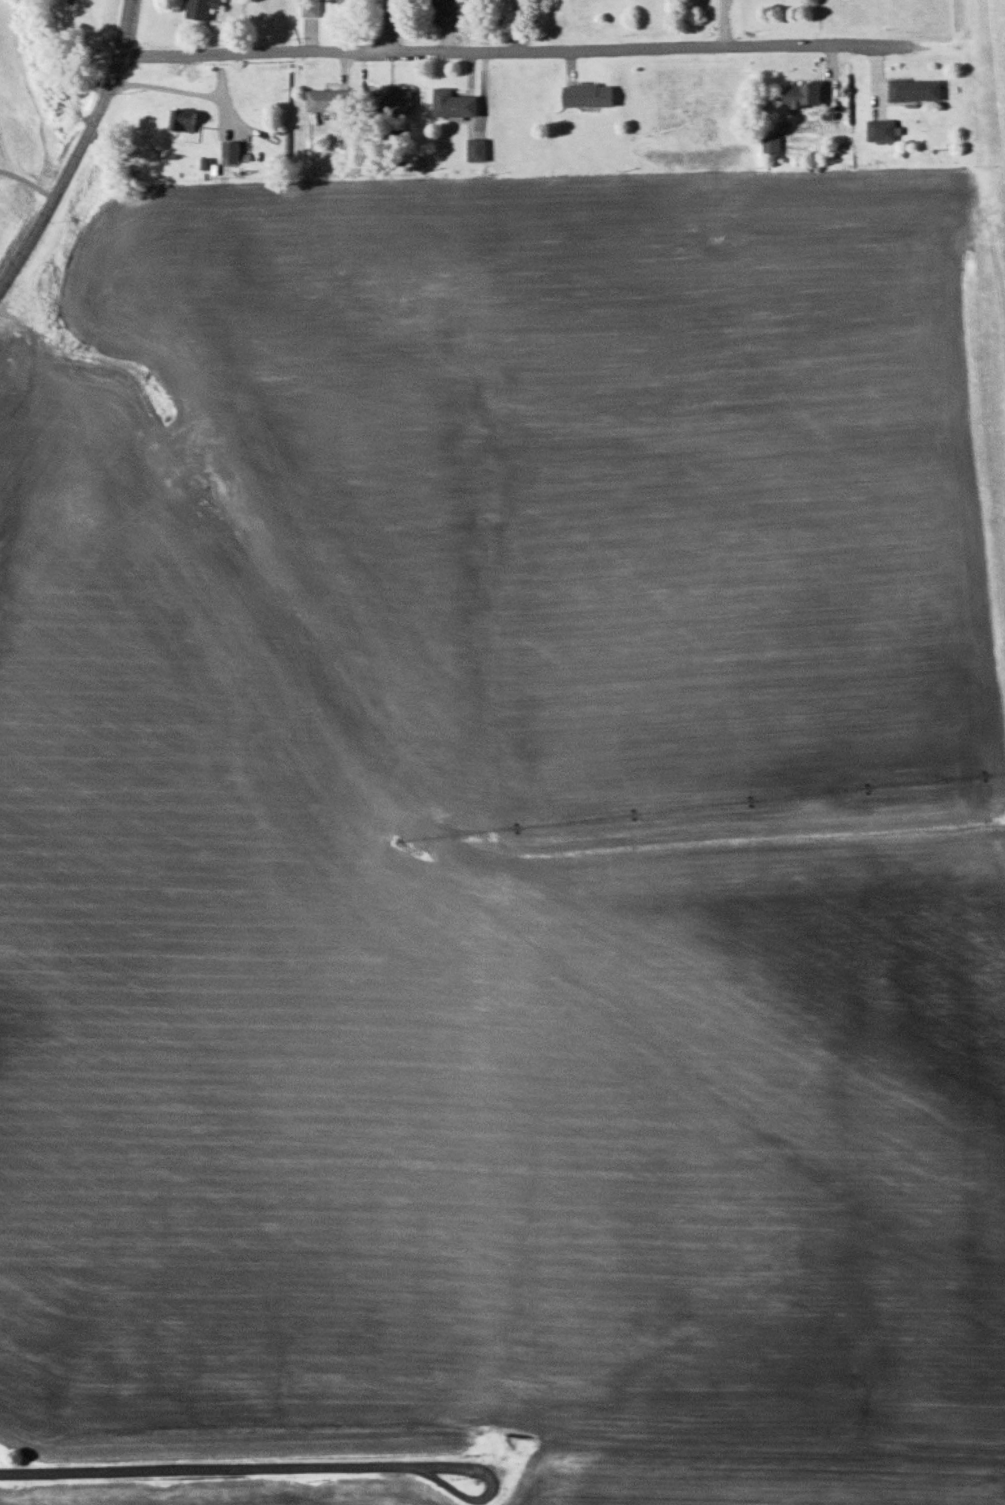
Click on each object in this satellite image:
building: (348, 3)
building: (310, 8)
building: (444, 8)
building: (200, 9)
road: (390, 26)
road: (510, 50)
road: (169, 89)
building: (914, 91)
building: (585, 95)
building: (800, 96)
building: (392, 99)
building: (329, 100)
building: (452, 104)
building: (182, 120)
building: (880, 130)
building: (770, 145)
road: (80, 146)
building: (474, 150)
building: (230, 152)
crop: (498, 819)
crop: (748, 1469)
road: (207, 1470)
road: (489, 1490)
crop: (156, 1494)
park: (368, 1499)

